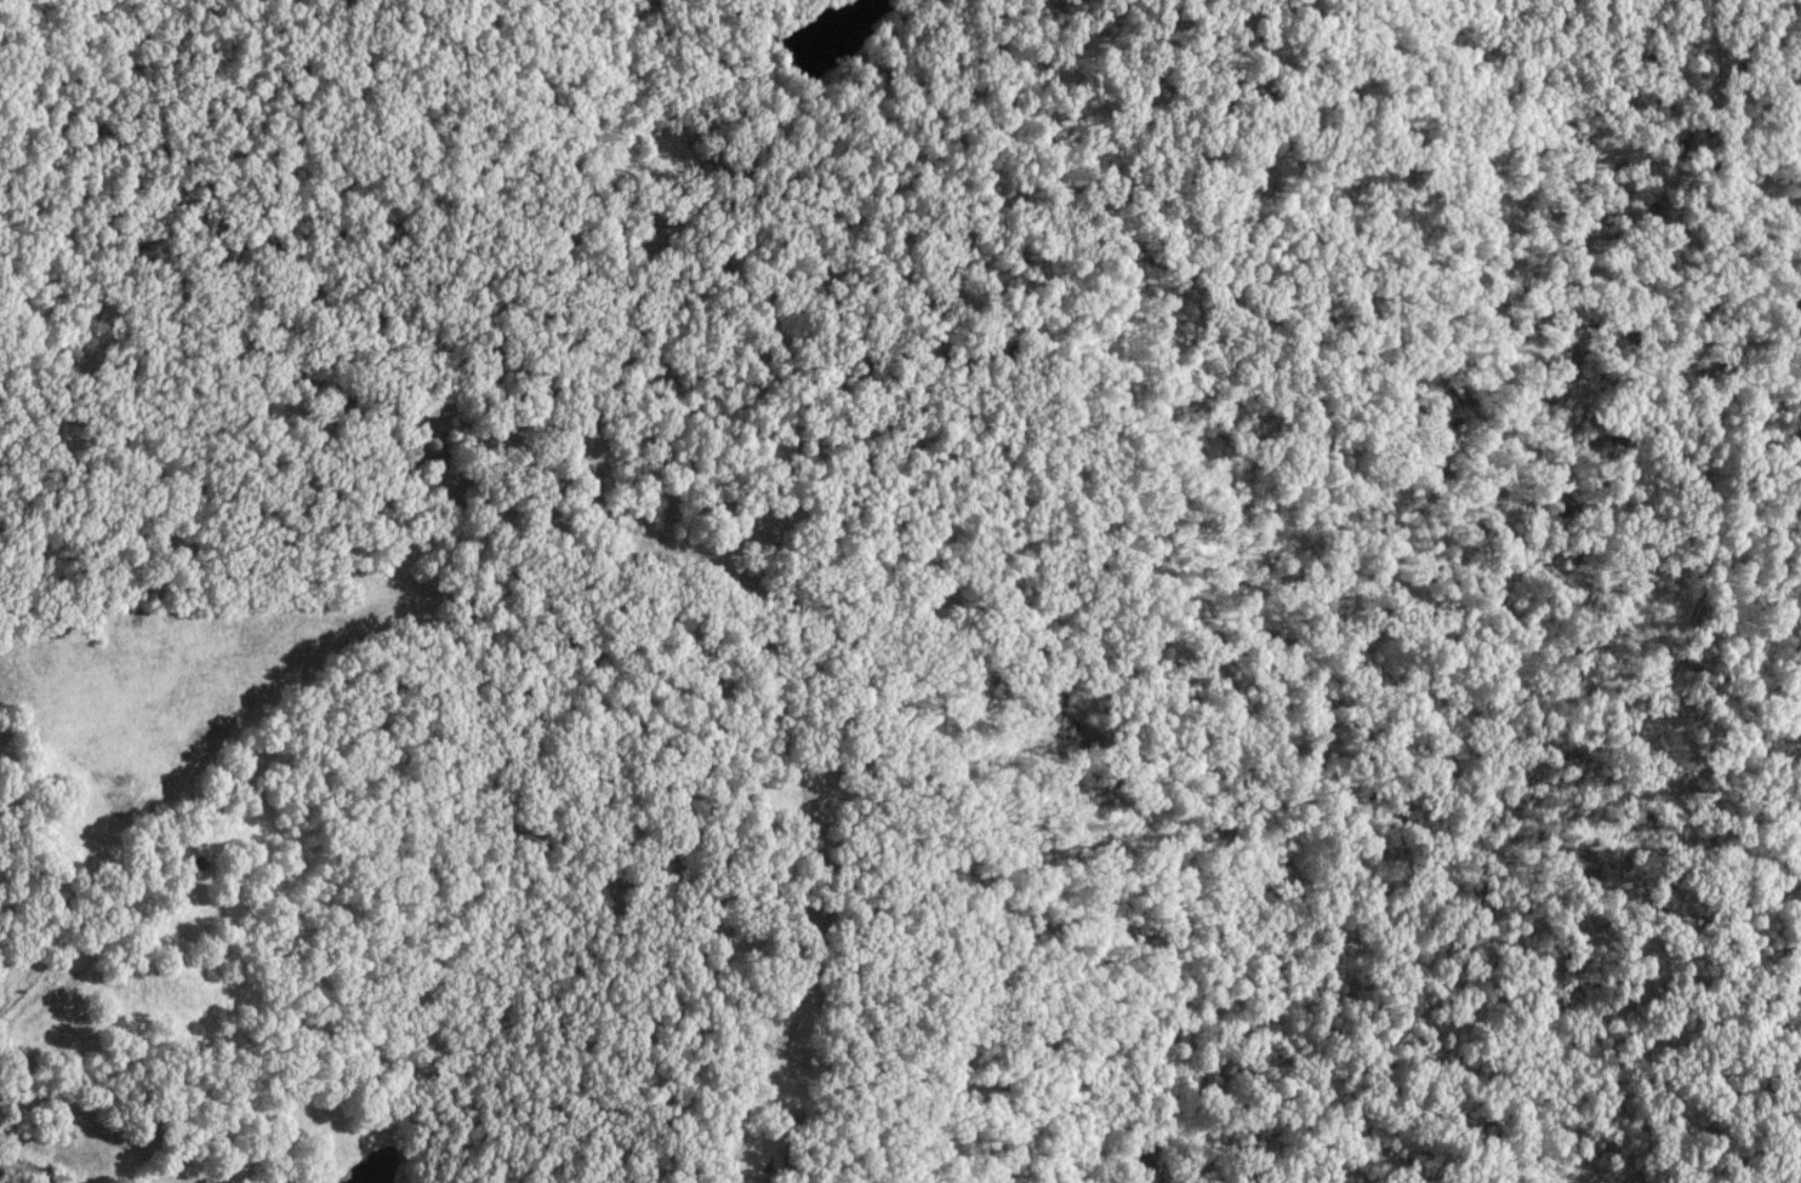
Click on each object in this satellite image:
building: (21, 1172)

